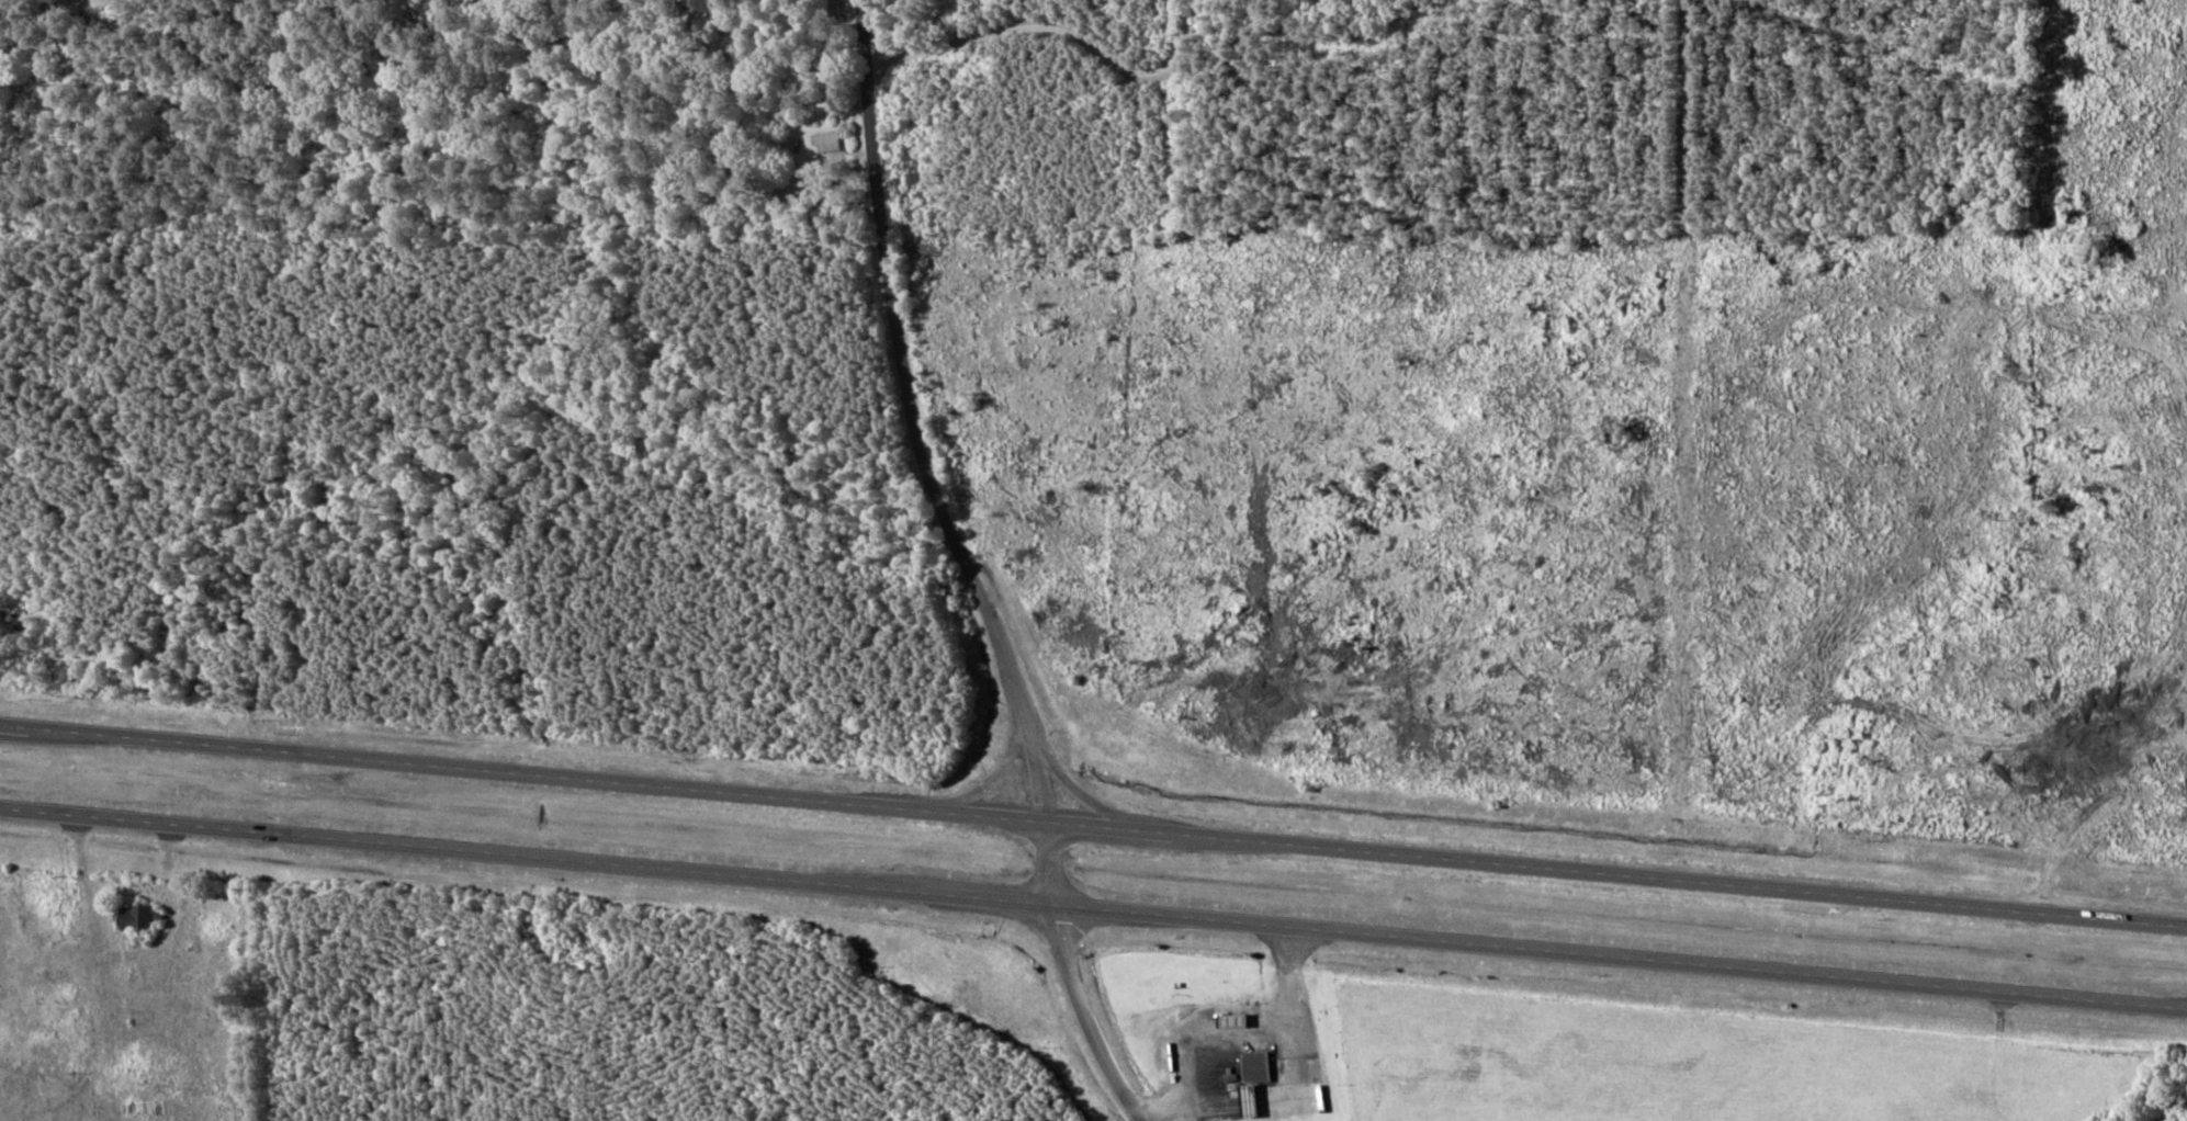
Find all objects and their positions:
road: (1063, 34)
building: (825, 141)
road: (967, 569)
road: (1093, 826)
road: (1093, 908)
building: (136, 916)

